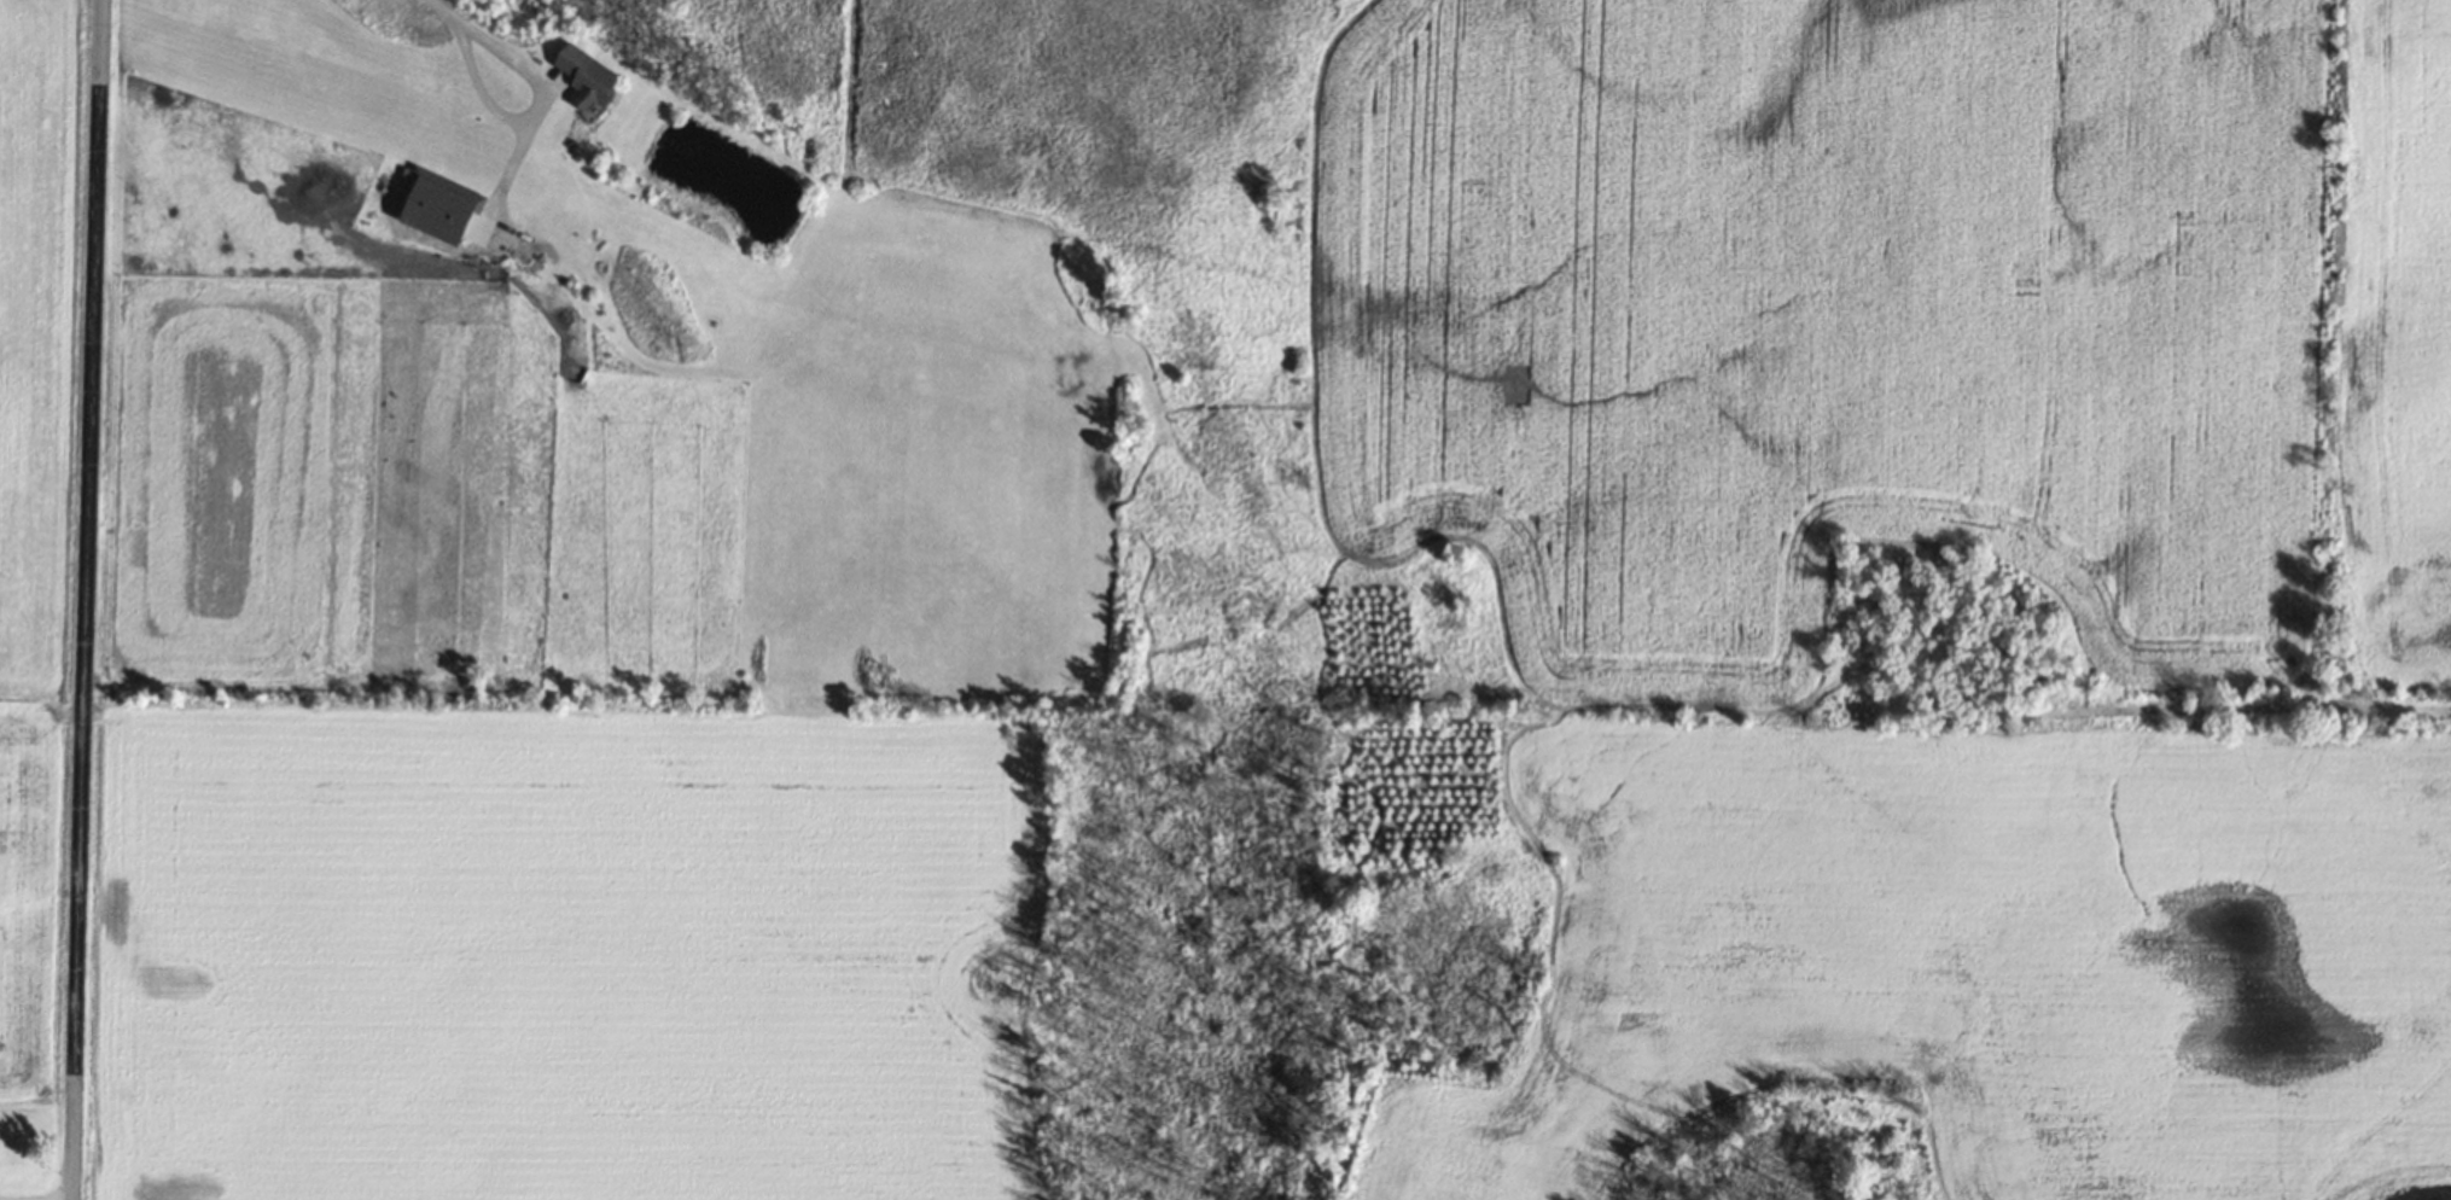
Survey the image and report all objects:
road: (487, 43)
building: (584, 78)
building: (438, 204)
road: (86, 600)
road: (35, 1198)

